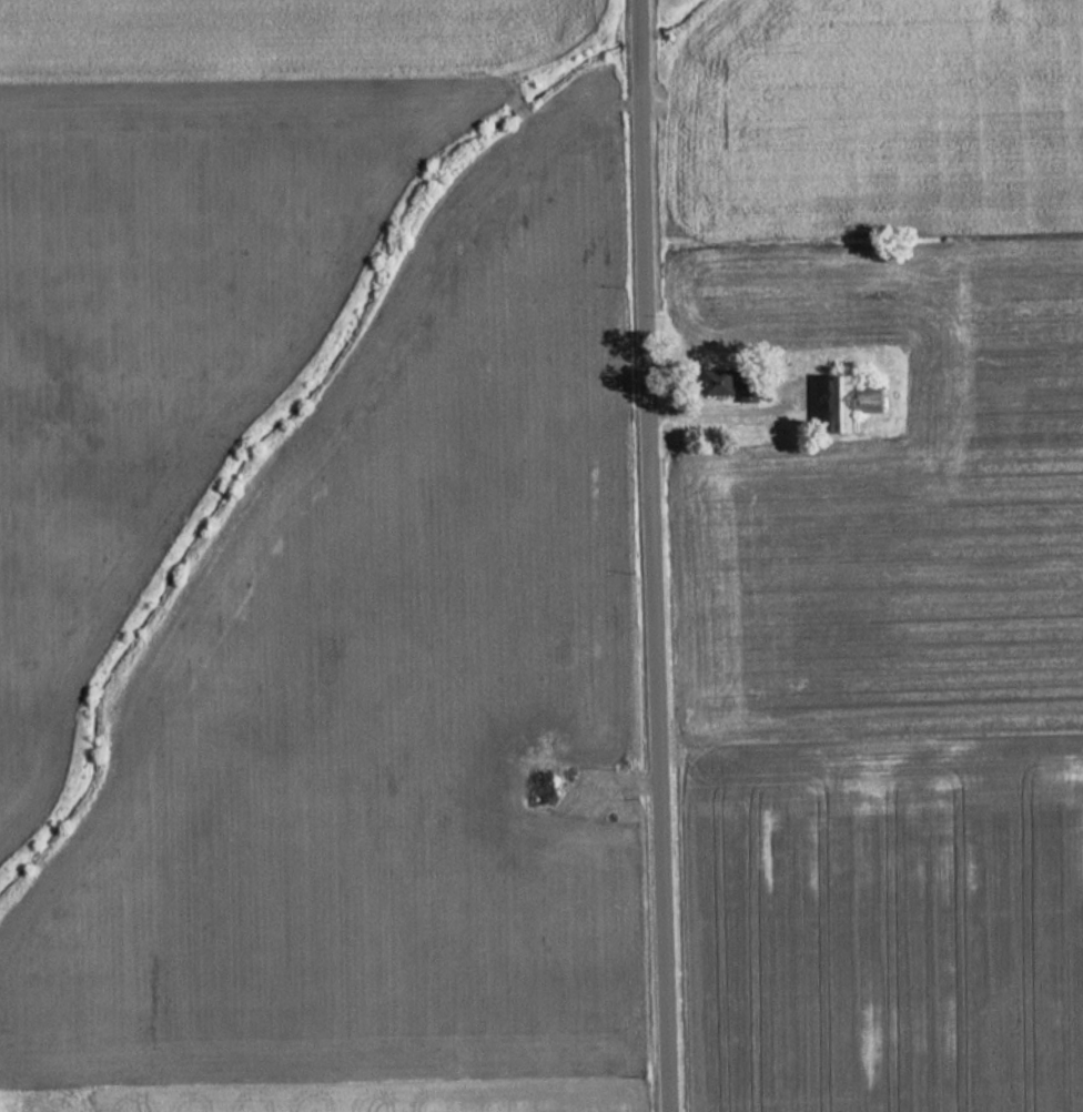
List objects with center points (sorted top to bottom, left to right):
crop: (657, 3)
crop: (874, 117)
crop: (175, 261)
road: (647, 556)
crop: (894, 727)
crop: (383, 731)

